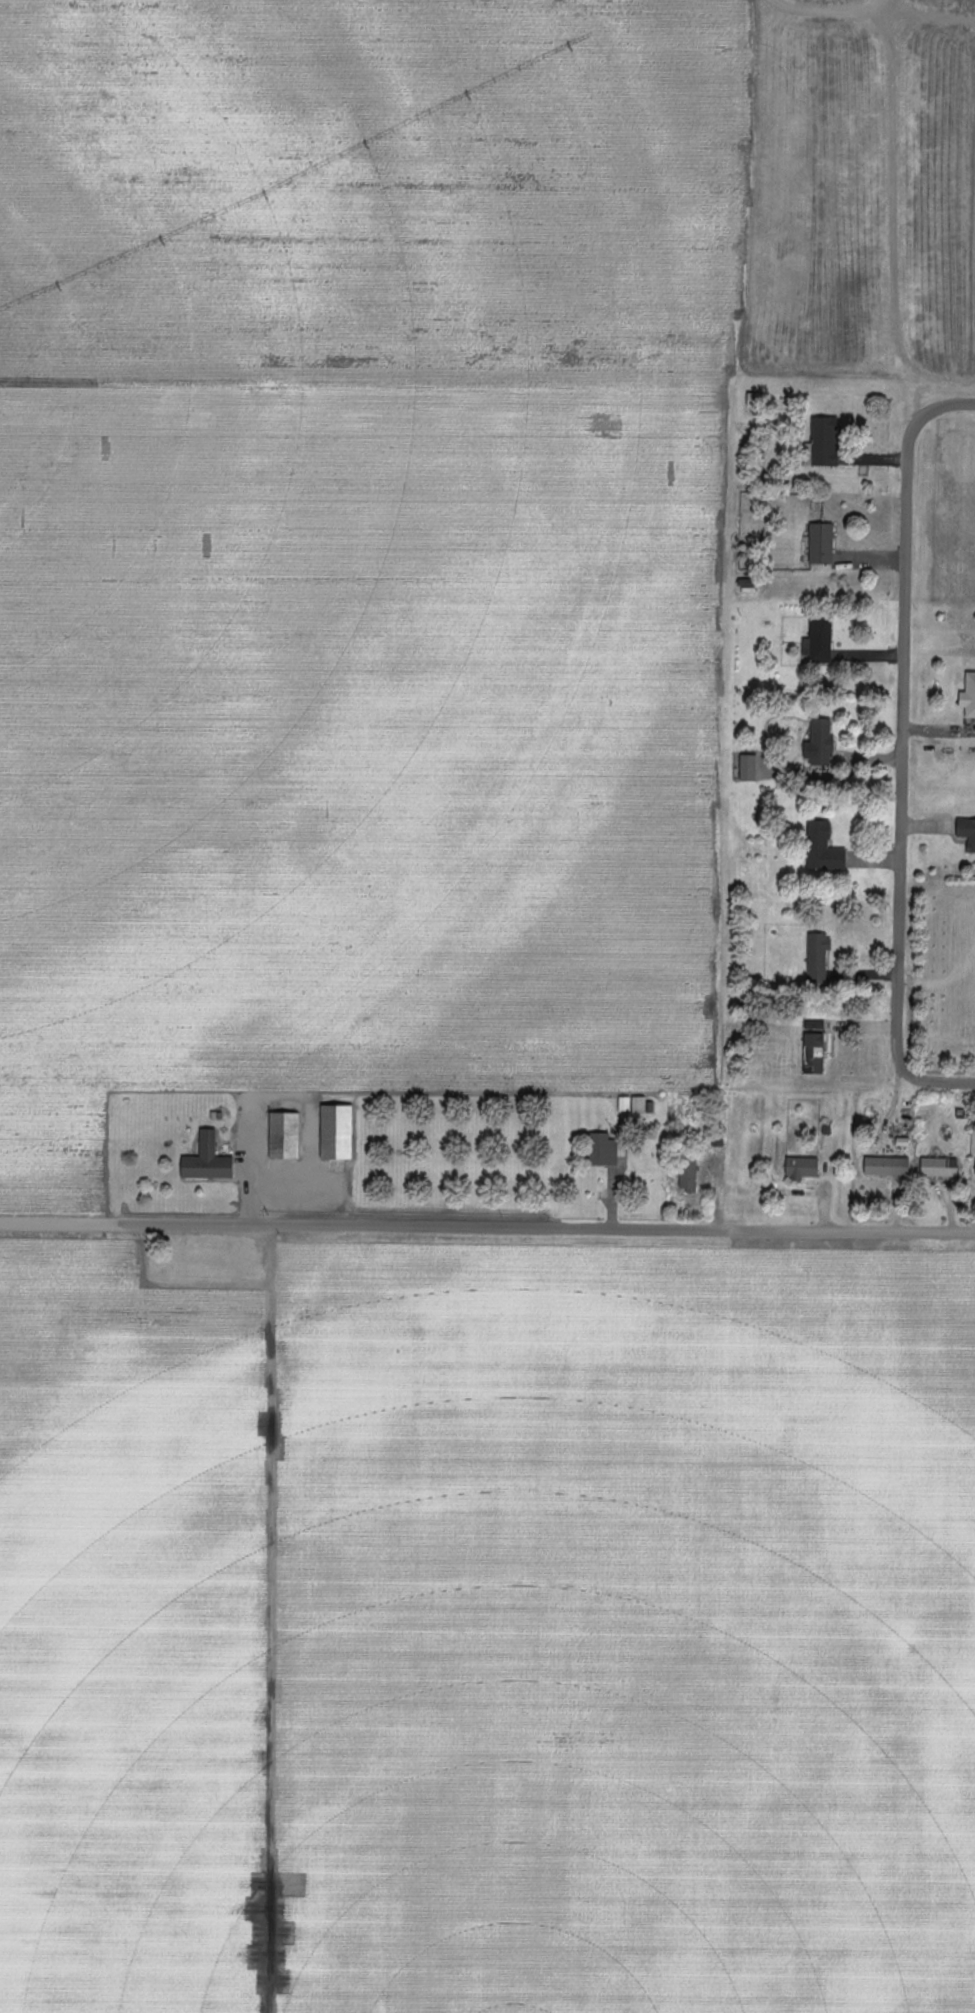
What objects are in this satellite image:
road: (822, 7)
building: (823, 443)
building: (821, 544)
building: (819, 641)
building: (969, 695)
building: (820, 744)
road: (904, 750)
building: (748, 766)
building: (967, 831)
building: (824, 848)
building: (818, 957)
building: (814, 1047)
building: (639, 1105)
building: (337, 1132)
building: (284, 1135)
building: (603, 1148)
building: (207, 1160)
building: (887, 1166)
building: (802, 1167)
building: (940, 1167)
building: (688, 1175)
road: (487, 1230)

